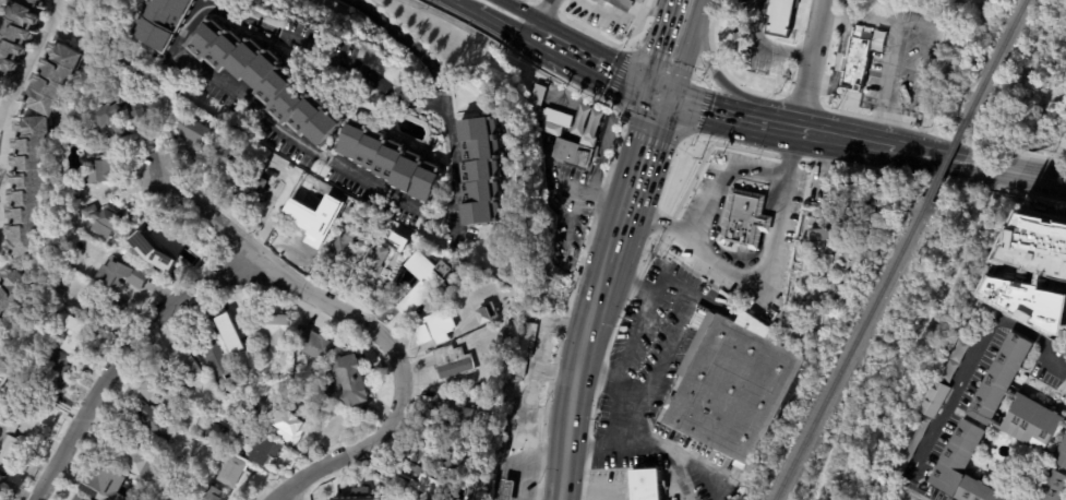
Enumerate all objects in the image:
building: (620, 4)
road: (457, 5)
park: (960, 9)
building: (866, 10)
road: (604, 11)
road: (633, 11)
road: (514, 14)
road: (539, 16)
building: (776, 19)
building: (166, 22)
road: (498, 27)
building: (13, 29)
road: (535, 35)
road: (547, 40)
road: (403, 41)
road: (767, 43)
road: (24, 49)
road: (774, 49)
road: (897, 49)
road: (672, 50)
road: (682, 50)
railway: (997, 59)
building: (854, 62)
building: (884, 63)
road: (771, 64)
road: (812, 66)
road: (685, 68)
road: (714, 71)
road: (608, 72)
park: (1005, 78)
building: (43, 79)
building: (266, 82)
road: (230, 88)
building: (537, 95)
traffic signals: (661, 100)
road: (555, 107)
building: (135, 111)
road: (704, 111)
building: (554, 118)
building: (110, 121)
road: (776, 126)
building: (193, 134)
road: (848, 140)
road: (1002, 148)
road: (922, 153)
building: (572, 154)
road: (1047, 157)
railway: (947, 158)
road: (969, 160)
building: (392, 162)
building: (223, 165)
road: (1003, 167)
road: (1043, 167)
building: (98, 170)
building: (481, 172)
road: (1043, 175)
road: (636, 177)
building: (255, 179)
road: (724, 181)
building: (70, 188)
road: (823, 188)
building: (21, 190)
parking lot: (857, 192)
road: (718, 193)
building: (319, 194)
road: (591, 201)
building: (350, 215)
building: (744, 219)
building: (107, 222)
parking lot: (741, 228)
building: (308, 234)
building: (818, 235)
building: (167, 239)
building: (1043, 239)
building: (345, 248)
building: (373, 263)
road: (759, 274)
building: (121, 276)
building: (416, 278)
road: (287, 279)
building: (1035, 285)
building: (11, 293)
building: (58, 294)
building: (445, 299)
building: (53, 311)
building: (487, 311)
road: (887, 318)
building: (273, 330)
building: (435, 330)
building: (238, 335)
building: (77, 338)
road: (542, 344)
building: (314, 345)
building: (523, 347)
road: (670, 347)
building: (212, 348)
railway: (850, 348)
road: (128, 353)
building: (957, 361)
road: (969, 362)
building: (453, 365)
building: (53, 367)
building: (183, 367)
road: (622, 368)
road: (574, 374)
building: (3, 378)
road: (596, 378)
building: (348, 381)
building: (27, 390)
building: (159, 390)
building: (736, 390)
building: (936, 401)
building: (327, 405)
building: (248, 412)
building: (455, 413)
building: (208, 414)
building: (152, 420)
building: (998, 426)
building: (289, 428)
building: (214, 433)
building: (9, 440)
building: (225, 444)
building: (914, 445)
building: (265, 451)
building: (500, 451)
building: (238, 453)
building: (443, 454)
road: (356, 455)
road: (673, 455)
road: (526, 461)
building: (139, 463)
building: (230, 471)
building: (0, 476)
building: (418, 479)
road: (676, 479)
park: (836, 480)
building: (1, 481)
building: (169, 483)
building: (107, 484)
building: (648, 486)
building: (487, 487)
building: (1052, 487)
building: (464, 489)
building: (506, 489)
road: (599, 489)
road: (911, 491)
building: (211, 493)
building: (359, 495)
building: (436, 495)
park: (1064, 496)
building: (77, 498)

